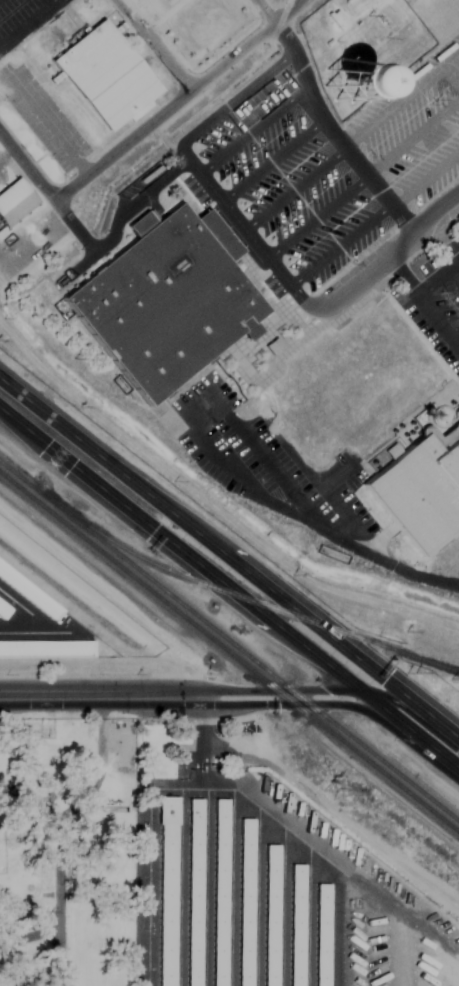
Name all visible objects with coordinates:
road: (264, 12)
road: (28, 21)
building: (106, 75)
building: (357, 80)
water tower: (350, 86)
road: (178, 102)
road: (226, 103)
road: (252, 129)
road: (333, 135)
road: (271, 159)
road: (27, 168)
road: (293, 188)
building: (15, 204)
road: (316, 216)
road: (247, 234)
road: (339, 244)
road: (439, 280)
building: (167, 299)
road: (424, 302)
building: (420, 492)
road: (325, 529)
road: (229, 555)
road: (229, 584)
building: (28, 594)
railway: (256, 601)
building: (3, 610)
railway: (229, 641)
building: (45, 650)
railway: (229, 652)
road: (315, 687)
road: (52, 697)
road: (148, 697)
road: (315, 700)
power tower: (335, 792)
road: (31, 802)
road: (60, 833)
park: (68, 851)
building: (167, 892)
building: (193, 892)
building: (220, 893)
building: (245, 902)
building: (271, 915)
building: (295, 925)
building: (322, 933)
road: (31, 938)
road: (59, 984)

